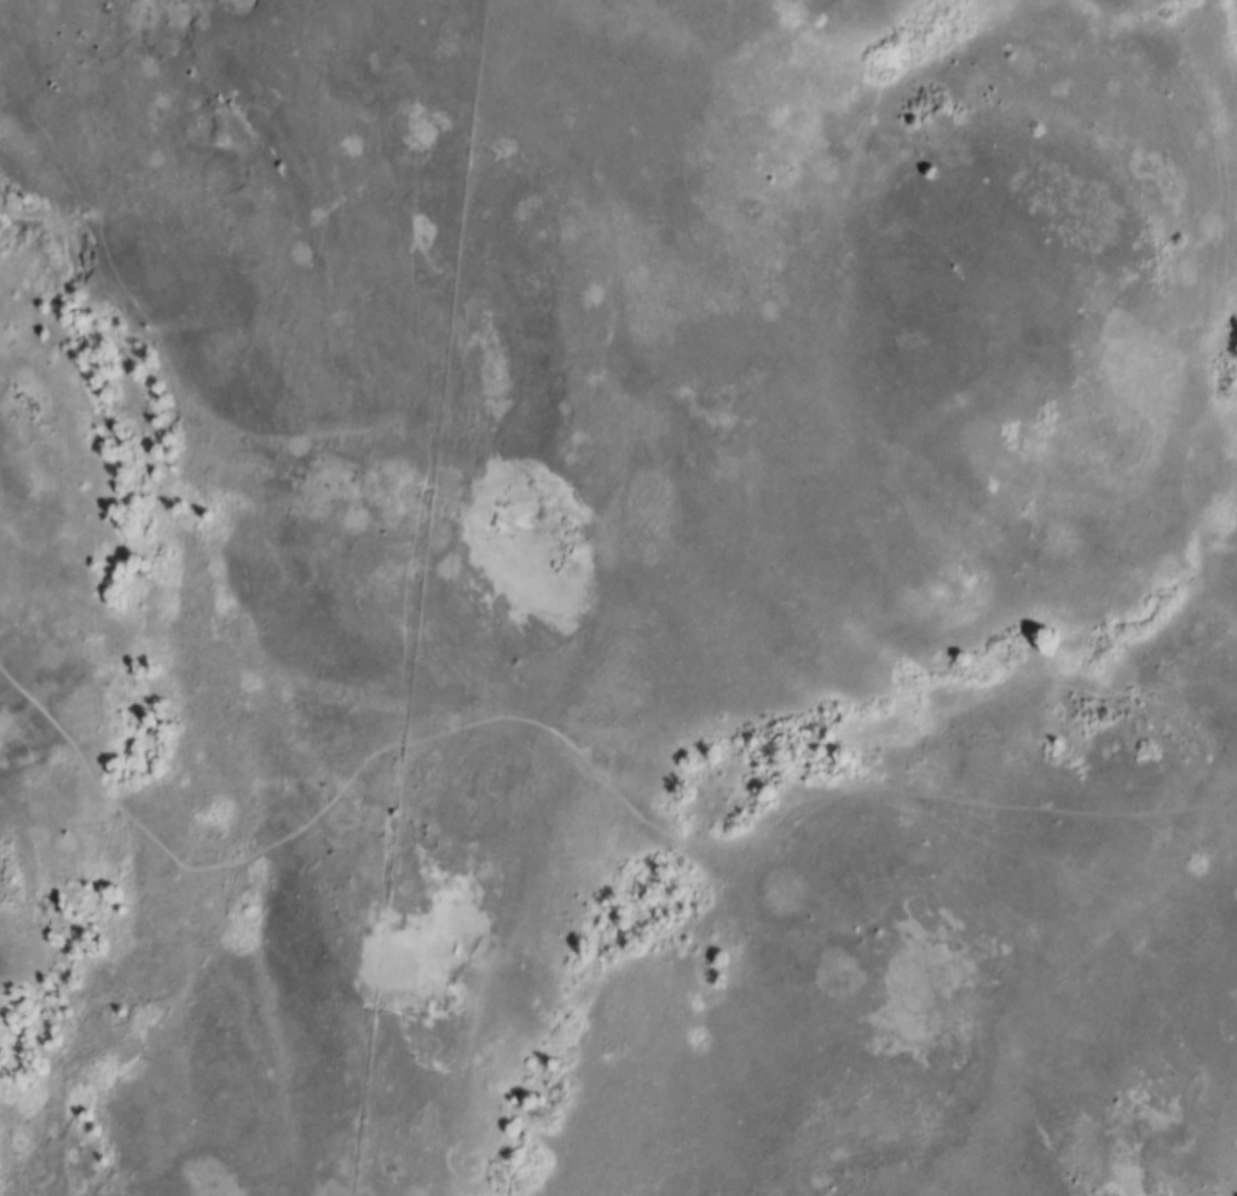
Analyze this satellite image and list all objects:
road: (572, 744)

